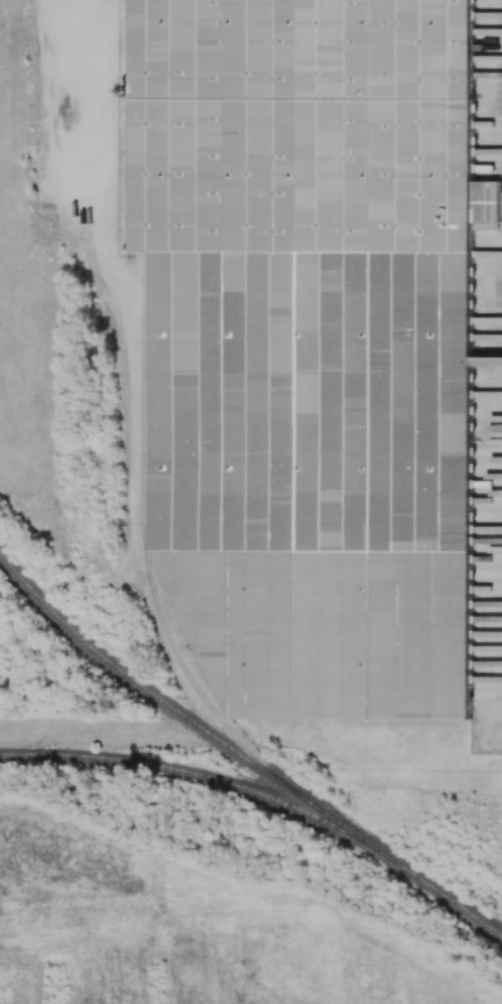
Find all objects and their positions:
building: (314, 344)
road: (488, 362)
railway: (143, 533)
railway: (242, 756)
railway: (205, 777)

